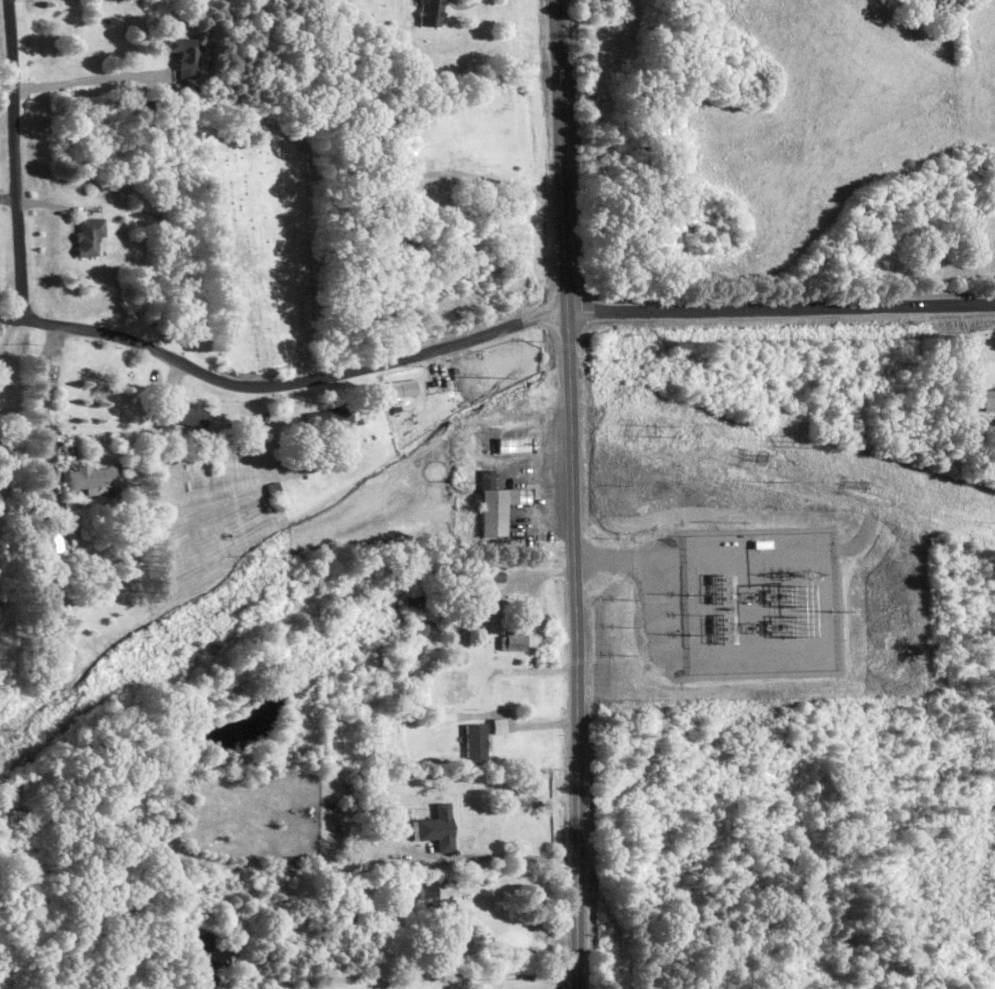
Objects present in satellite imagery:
building: (430, 12)
building: (183, 54)
road: (90, 78)
road: (17, 160)
building: (89, 235)
road: (779, 306)
road: (281, 385)
building: (402, 386)
road: (39, 398)
building: (986, 398)
building: (181, 414)
building: (328, 418)
building: (512, 443)
building: (90, 477)
road: (569, 494)
building: (495, 503)
building: (49, 538)
building: (512, 640)
building: (498, 724)
building: (475, 741)
building: (435, 826)
road: (500, 856)
building: (435, 900)
road: (478, 974)

